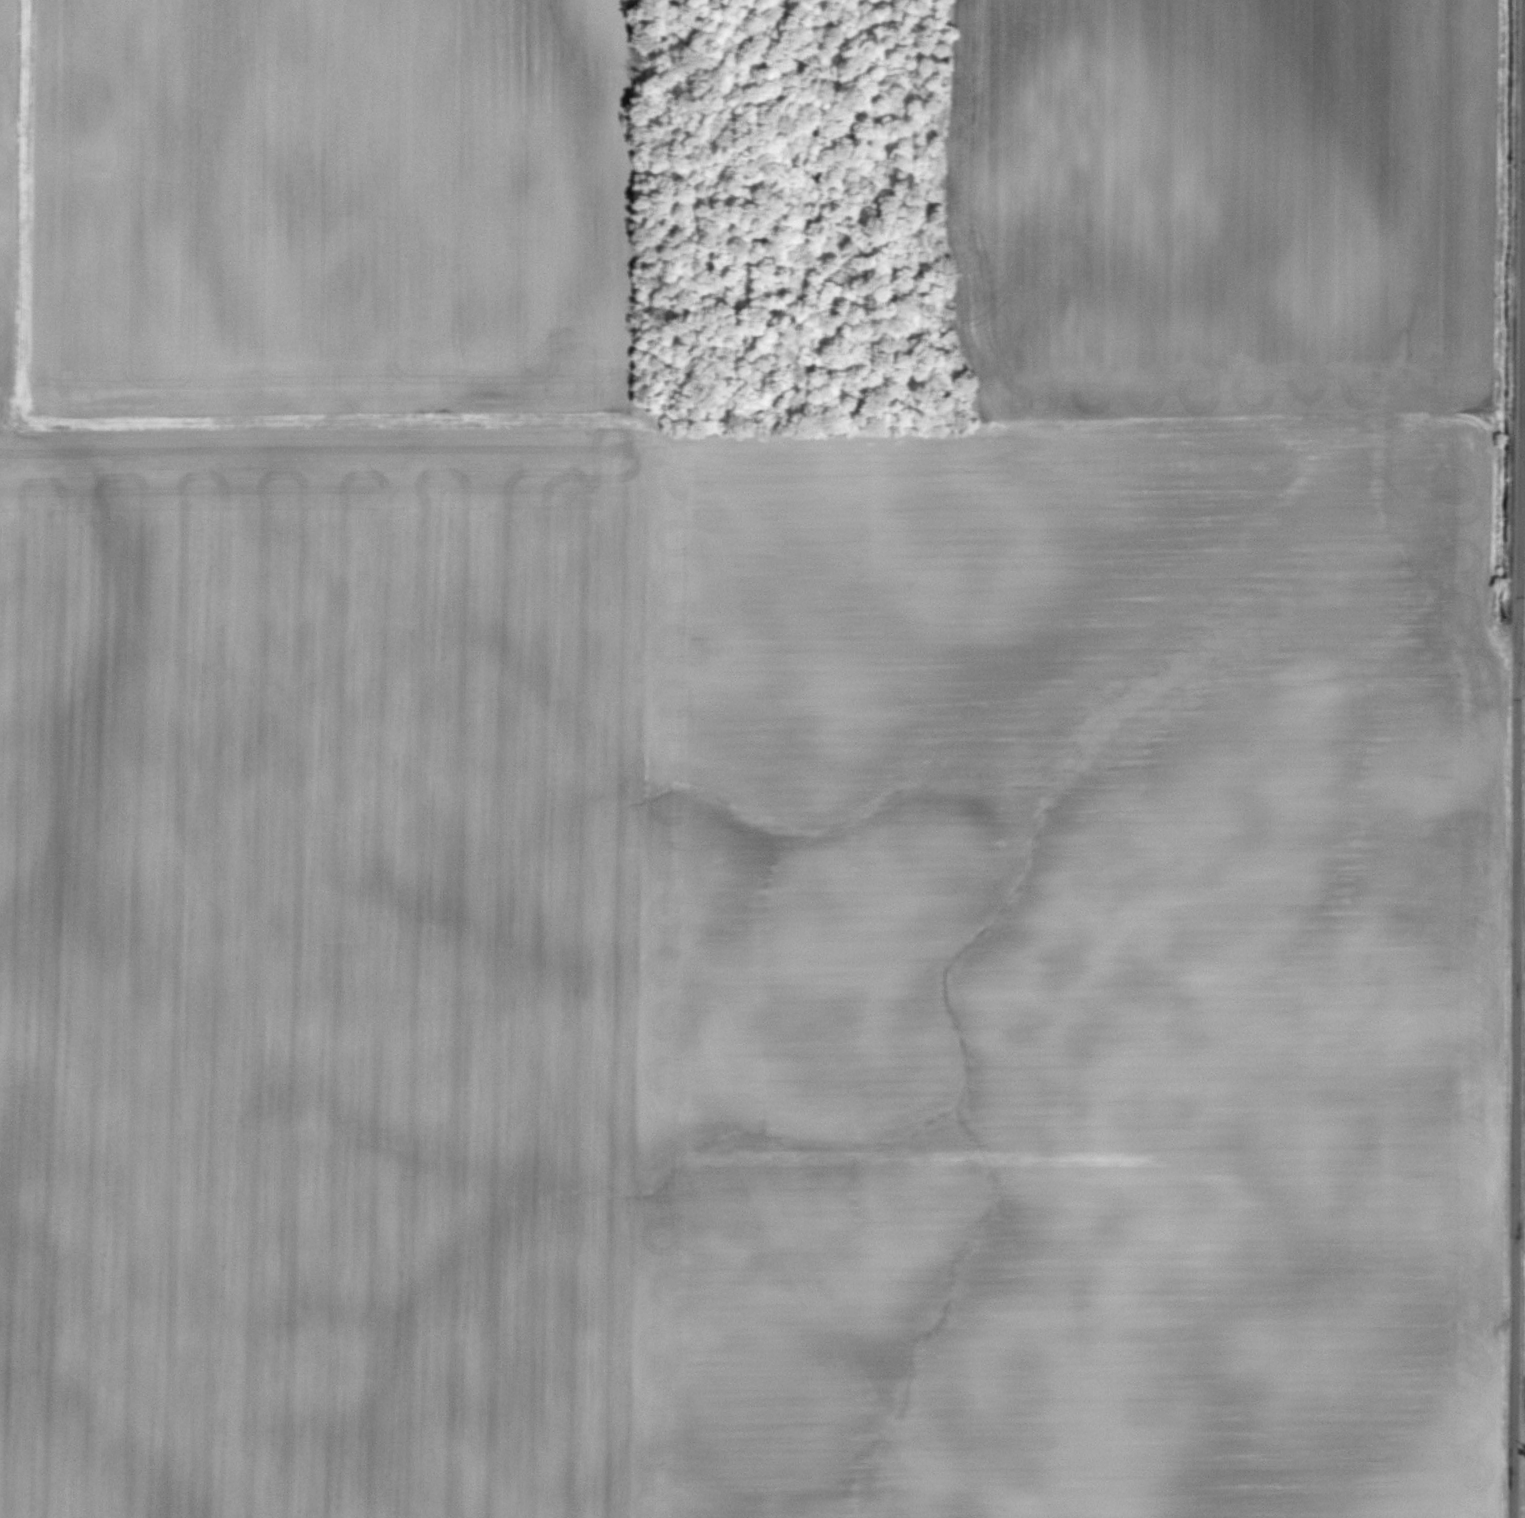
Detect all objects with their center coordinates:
road: (1519, 835)

